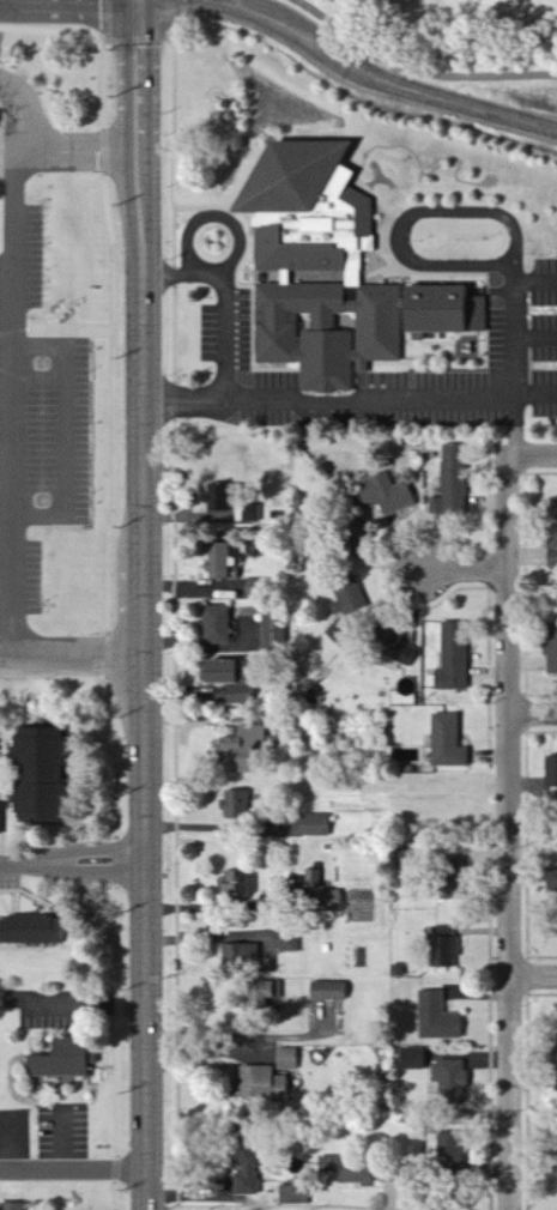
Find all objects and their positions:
road: (77, 35)
road: (164, 38)
road: (363, 71)
road: (417, 71)
road: (138, 77)
road: (80, 150)
road: (413, 216)
road: (216, 260)
building: (332, 273)
road: (180, 274)
road: (538, 282)
road: (519, 328)
road: (229, 335)
road: (538, 337)
road: (145, 349)
road: (20, 364)
road: (351, 399)
road: (519, 426)
road: (68, 432)
road: (534, 458)
building: (452, 482)
building: (385, 495)
building: (211, 498)
building: (552, 533)
building: (216, 561)
road: (468, 568)
building: (350, 598)
road: (144, 601)
building: (214, 625)
road: (109, 629)
building: (273, 633)
building: (394, 647)
building: (551, 655)
building: (453, 658)
road: (71, 659)
building: (216, 672)
building: (238, 695)
road: (534, 713)
building: (447, 742)
building: (243, 750)
building: (550, 773)
building: (34, 776)
building: (235, 805)
building: (0, 818)
building: (314, 825)
road: (510, 834)
road: (86, 849)
road: (14, 864)
road: (87, 873)
building: (551, 881)
building: (232, 885)
building: (323, 894)
building: (30, 930)
road: (147, 933)
building: (290, 944)
building: (443, 948)
building: (240, 956)
road: (533, 975)
building: (327, 992)
building: (265, 993)
road: (87, 1002)
building: (437, 1018)
road: (237, 1031)
building: (412, 1059)
building: (62, 1060)
building: (285, 1060)
building: (556, 1069)
building: (450, 1082)
building: (259, 1085)
building: (447, 1150)
road: (73, 1169)
building: (244, 1181)
building: (292, 1194)
building: (11, 1206)

